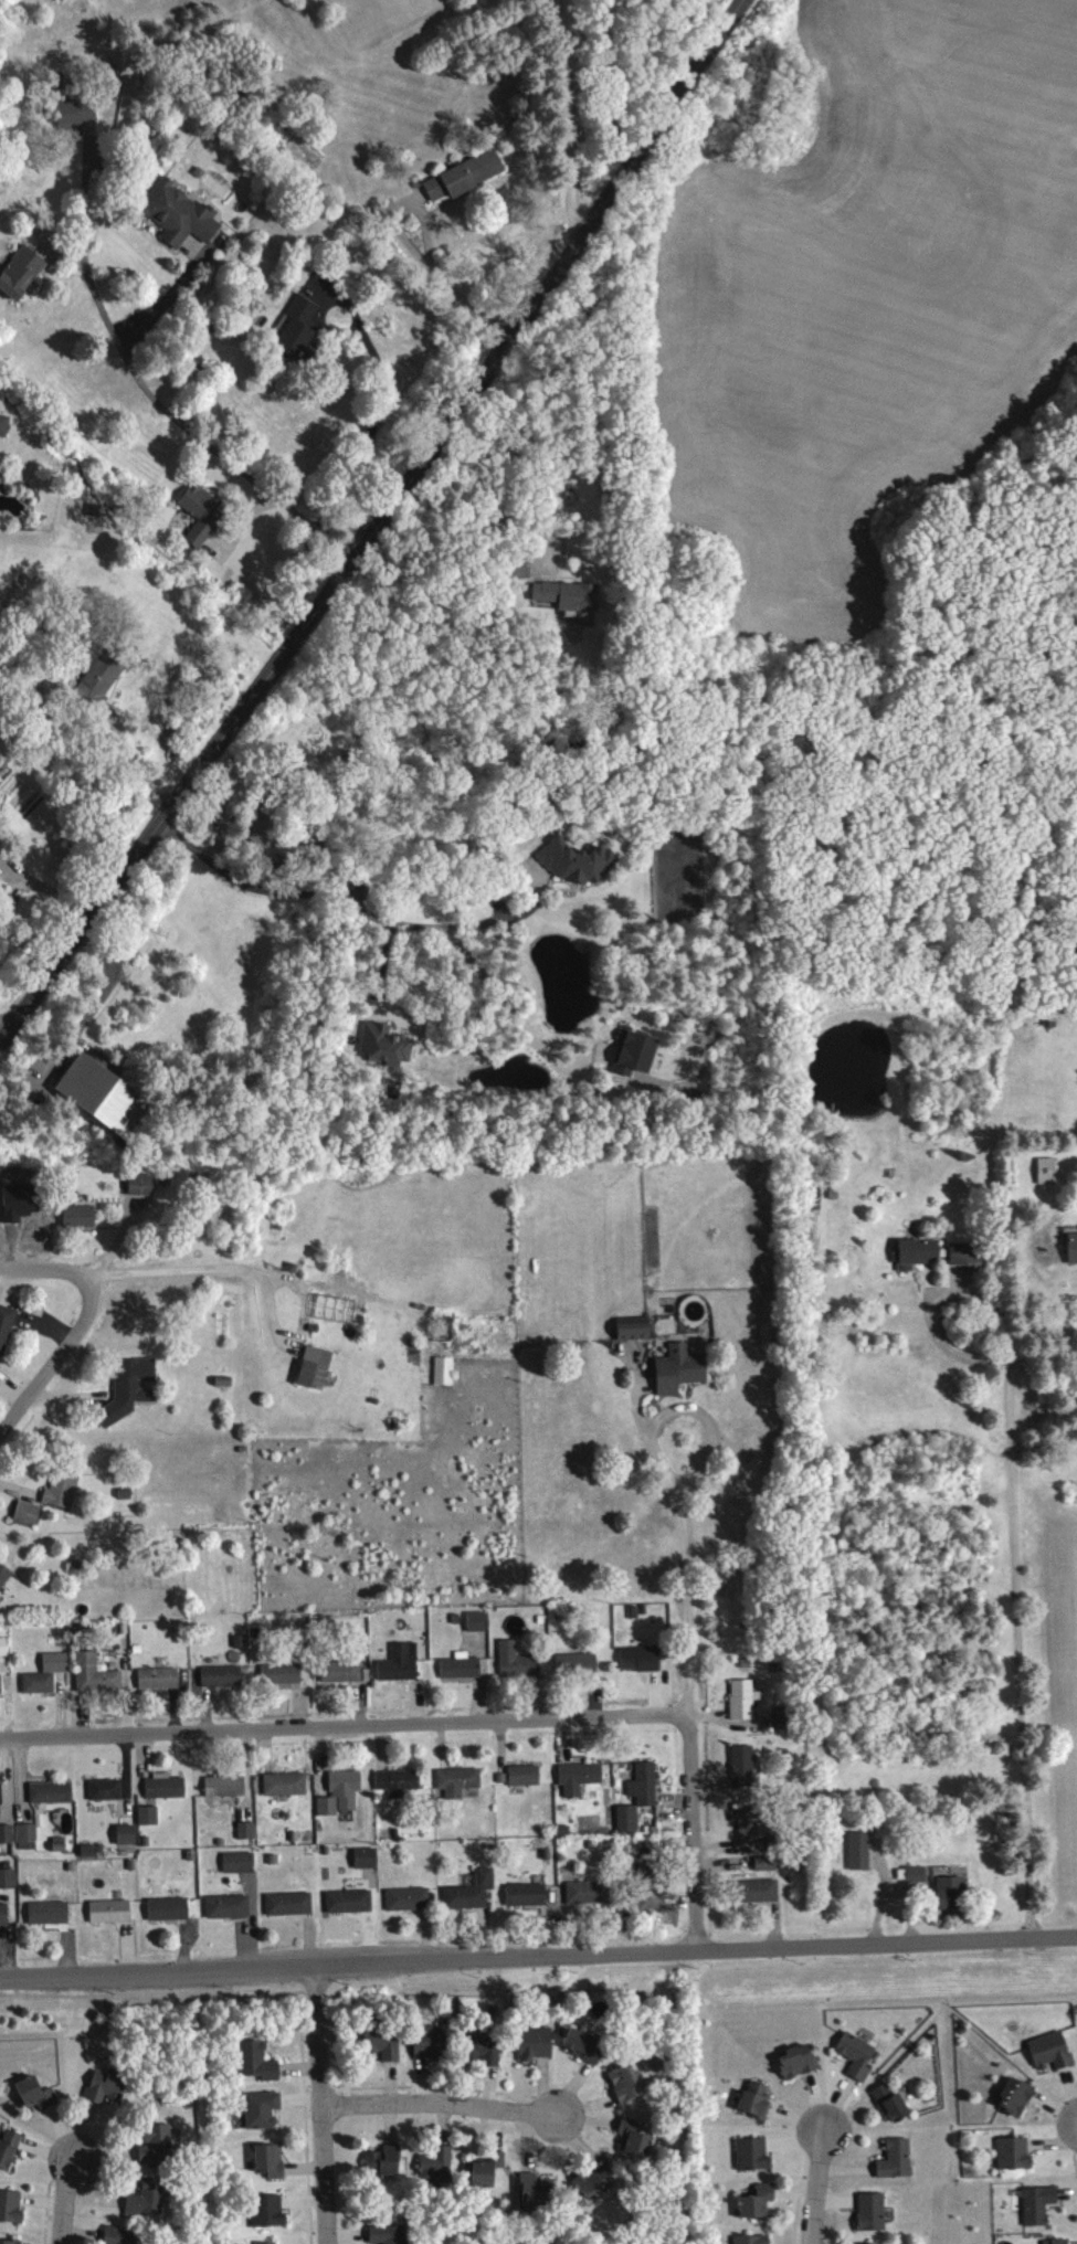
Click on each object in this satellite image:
building: (112, 76)
road: (578, 119)
building: (467, 174)
building: (181, 213)
building: (22, 272)
road: (450, 285)
building: (299, 327)
road: (378, 374)
road: (146, 390)
building: (6, 424)
building: (96, 509)
building: (203, 512)
road: (373, 520)
building: (522, 565)
building: (570, 595)
building: (104, 676)
building: (263, 825)
building: (1, 853)
building: (580, 861)
road: (380, 917)
road: (499, 920)
road: (3, 1025)
building: (388, 1044)
building: (636, 1052)
building: (106, 1094)
building: (1048, 1169)
building: (142, 1184)
building: (81, 1216)
building: (1074, 1243)
building: (919, 1251)
building: (971, 1256)
road: (204, 1266)
road: (44, 1268)
building: (7, 1326)
building: (636, 1331)
road: (955, 1348)
road: (54, 1357)
building: (317, 1366)
building: (682, 1368)
building: (446, 1369)
building: (134, 1387)
building: (64, 1489)
road: (680, 1497)
building: (29, 1512)
building: (4, 1575)
building: (478, 1620)
road: (1020, 1621)
building: (4, 1645)
building: (642, 1658)
building: (519, 1660)
building: (402, 1662)
building: (580, 1662)
building: (463, 1665)
building: (344, 1671)
building: (49, 1673)
building: (97, 1673)
building: (283, 1673)
building: (223, 1675)
building: (160, 1677)
building: (1, 1684)
building: (746, 1698)
building: (785, 1718)
road: (340, 1724)
building: (745, 1765)
building: (526, 1775)
building: (581, 1777)
building: (400, 1781)
building: (458, 1781)
building: (287, 1783)
building: (646, 1783)
building: (167, 1786)
building: (228, 1786)
building: (107, 1788)
building: (53, 1791)
building: (342, 1792)
building: (2, 1793)
building: (150, 1814)
building: (630, 1818)
building: (753, 1823)
building: (249, 1830)
road: (691, 1832)
building: (8, 1833)
building: (128, 1833)
building: (31, 1835)
building: (863, 1850)
building: (368, 1856)
building: (241, 1862)
building: (768, 1862)
building: (918, 1873)
building: (8, 1877)
building: (651, 1886)
building: (473, 1891)
building: (760, 1891)
building: (589, 1892)
building: (952, 1892)
building: (528, 1894)
building: (409, 1898)
building: (351, 1901)
building: (291, 1903)
building: (230, 1906)
building: (170, 1908)
building: (113, 1910)
building: (51, 1912)
building: (6, 1914)
road: (947, 1939)
road: (408, 1959)
building: (384, 2041)
building: (432, 2041)
building: (537, 2042)
building: (585, 2044)
building: (486, 2049)
building: (1053, 2050)
building: (858, 2054)
building: (257, 2061)
building: (800, 2061)
building: (630, 2083)
building: (108, 2085)
building: (38, 2093)
building: (1017, 2096)
building: (757, 2099)
building: (893, 2100)
road: (437, 2102)
road: (320, 2103)
building: (264, 2108)
building: (636, 2138)
building: (158, 2144)
building: (10, 2148)
building: (754, 2153)
building: (1016, 2153)
building: (386, 2159)
building: (898, 2159)
building: (272, 2160)
building: (440, 2164)
building: (488, 2170)
building: (598, 2180)
road: (816, 2188)
building: (149, 2198)
road: (64, 2199)
building: (759, 2201)
building: (1039, 2204)
building: (12, 2205)
building: (270, 2210)
building: (874, 2211)
building: (391, 2234)
building: (120, 2235)
building: (754, 2238)
building: (1062, 2241)
building: (10, 2242)
building: (268, 2243)

